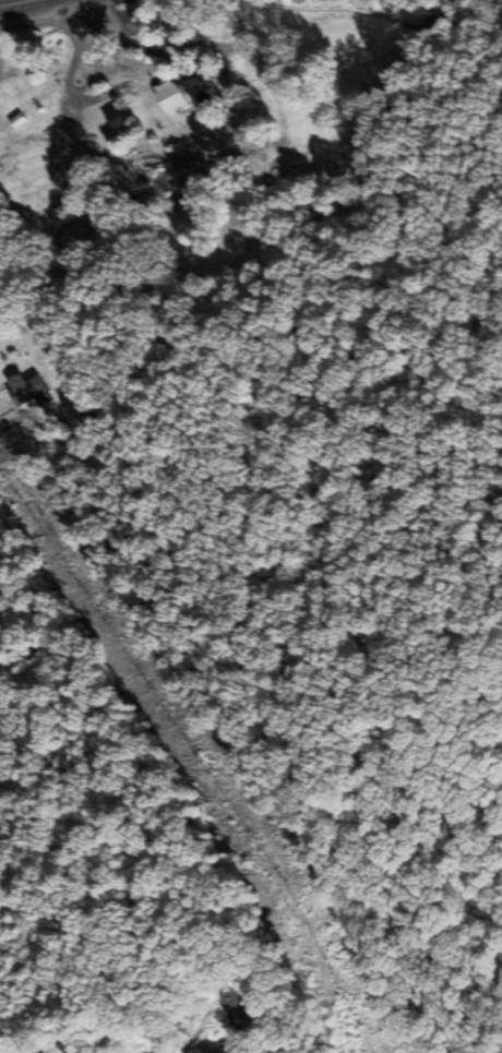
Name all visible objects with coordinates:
railway: (22, 3)
road: (48, 12)
building: (439, 26)
building: (380, 57)
building: (172, 96)
building: (236, 1006)

